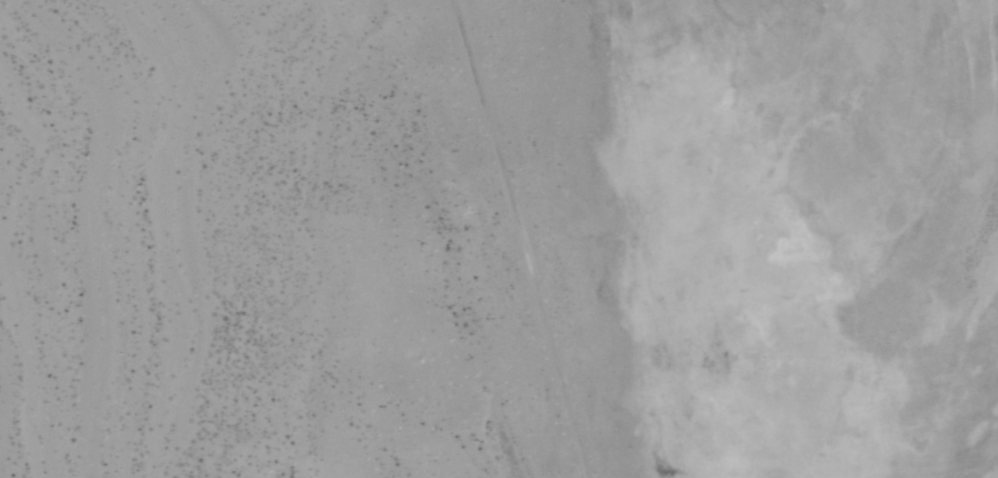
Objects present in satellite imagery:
road: (511, 239)

